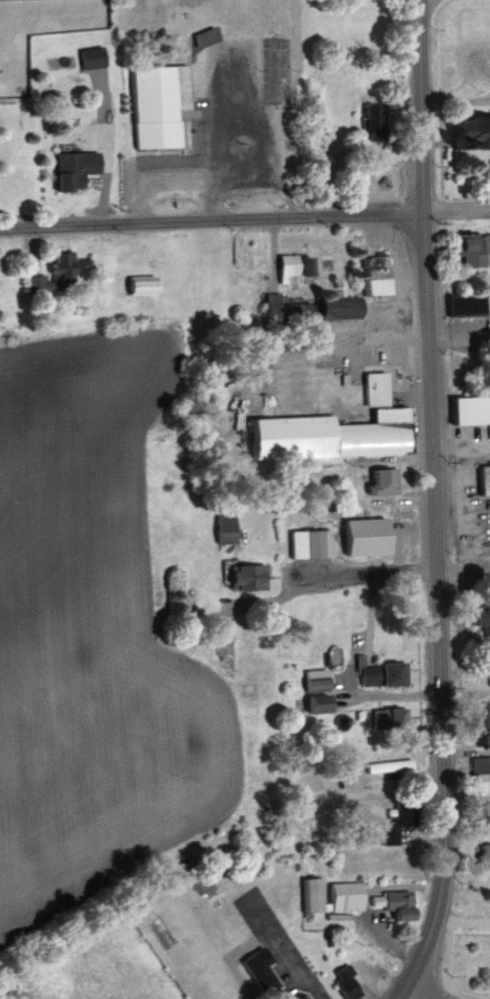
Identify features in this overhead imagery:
building: (209, 36)
building: (94, 56)
park: (275, 69)
road: (456, 99)
building: (158, 103)
building: (377, 118)
building: (477, 131)
building: (76, 168)
road: (456, 210)
road: (211, 222)
building: (473, 248)
building: (297, 267)
building: (57, 274)
building: (378, 274)
building: (146, 286)
building: (466, 304)
building: (343, 309)
building: (289, 310)
road: (459, 332)
building: (469, 409)
building: (339, 429)
road: (461, 453)
building: (484, 479)
building: (383, 482)
road: (433, 502)
building: (227, 528)
building: (369, 536)
building: (307, 544)
road: (463, 569)
road: (364, 570)
building: (250, 576)
building: (484, 626)
building: (383, 674)
building: (316, 679)
building: (318, 703)
building: (390, 717)
building: (484, 717)
building: (388, 765)
building: (480, 765)
building: (488, 817)
building: (398, 821)
building: (486, 855)
building: (332, 895)
building: (395, 903)
building: (262, 970)
building: (347, 981)
road: (421, 995)
building: (294, 996)

